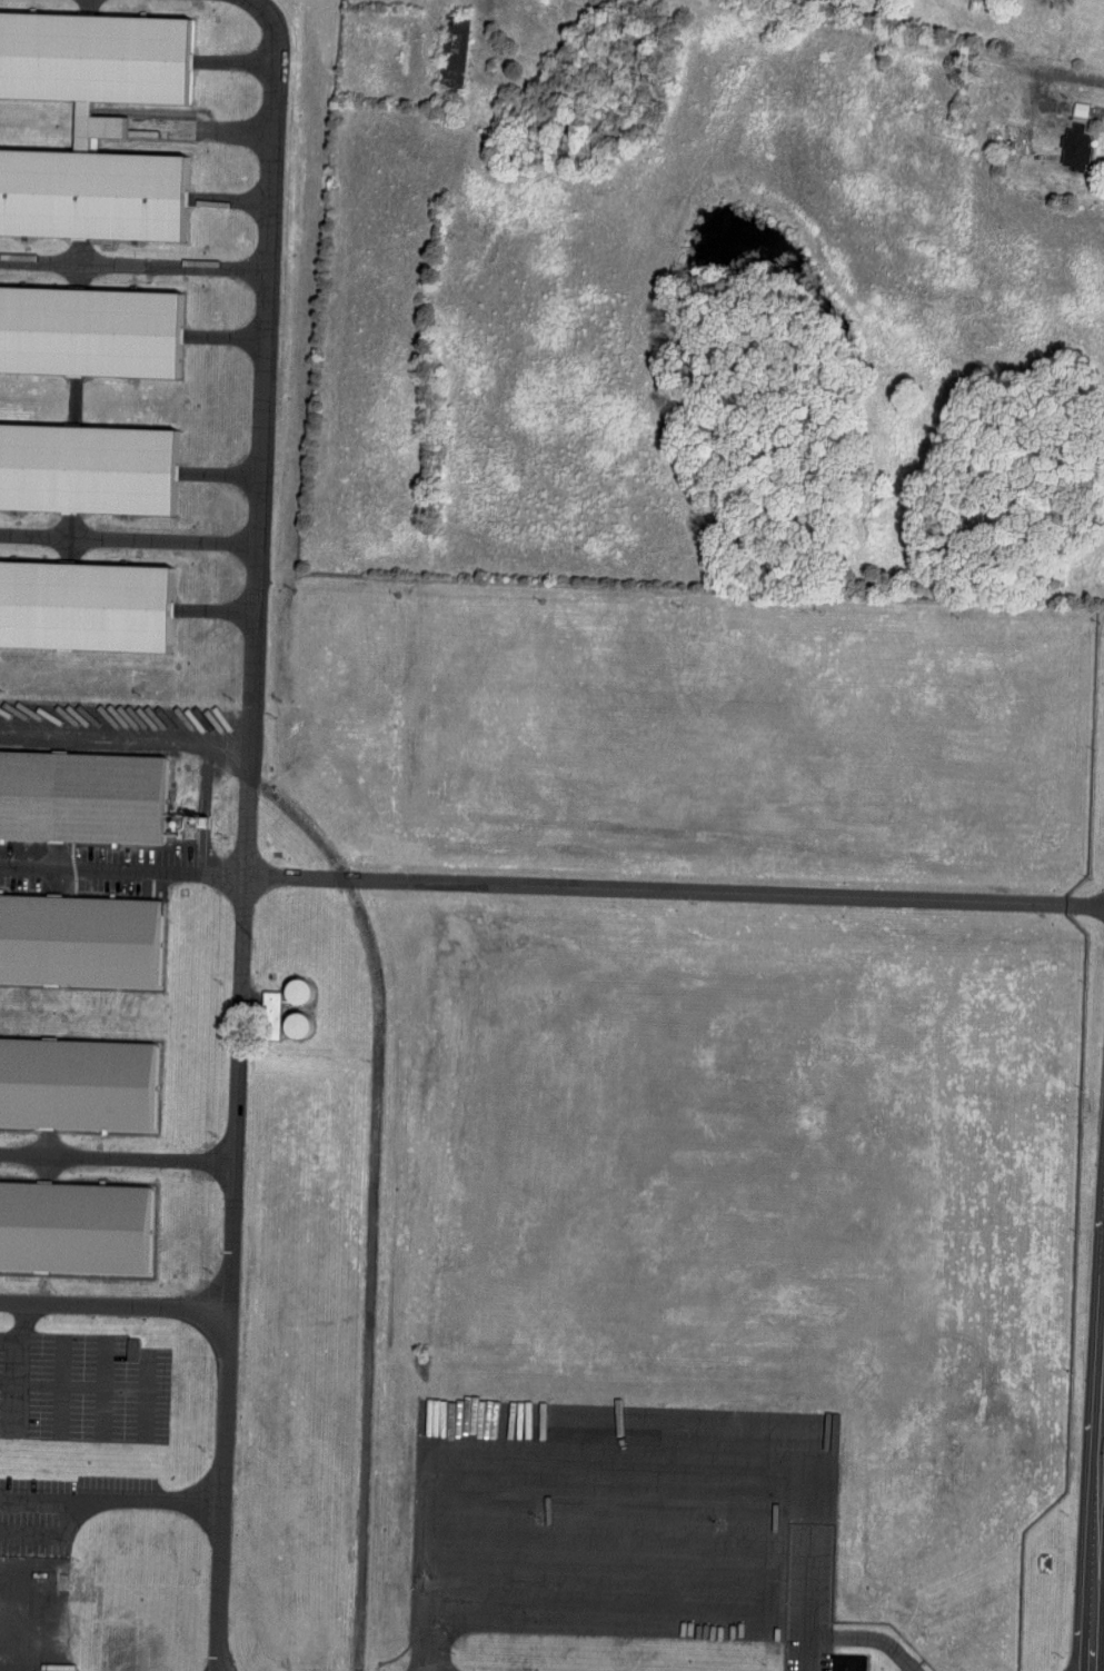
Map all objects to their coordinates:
building: (92, 63)
road: (1083, 102)
building: (1072, 148)
building: (90, 195)
road: (139, 256)
building: (87, 331)
building: (86, 469)
road: (132, 536)
building: (83, 606)
building: (82, 798)
road: (255, 833)
road: (551, 883)
building: (79, 942)
building: (291, 994)
road: (273, 1016)
building: (287, 1026)
building: (77, 1083)
road: (121, 1157)
building: (74, 1226)
road: (119, 1301)
road: (18, 1347)
road: (152, 1494)
road: (42, 1495)
road: (54, 1540)
road: (1101, 1592)
road: (854, 1639)
building: (845, 1662)

